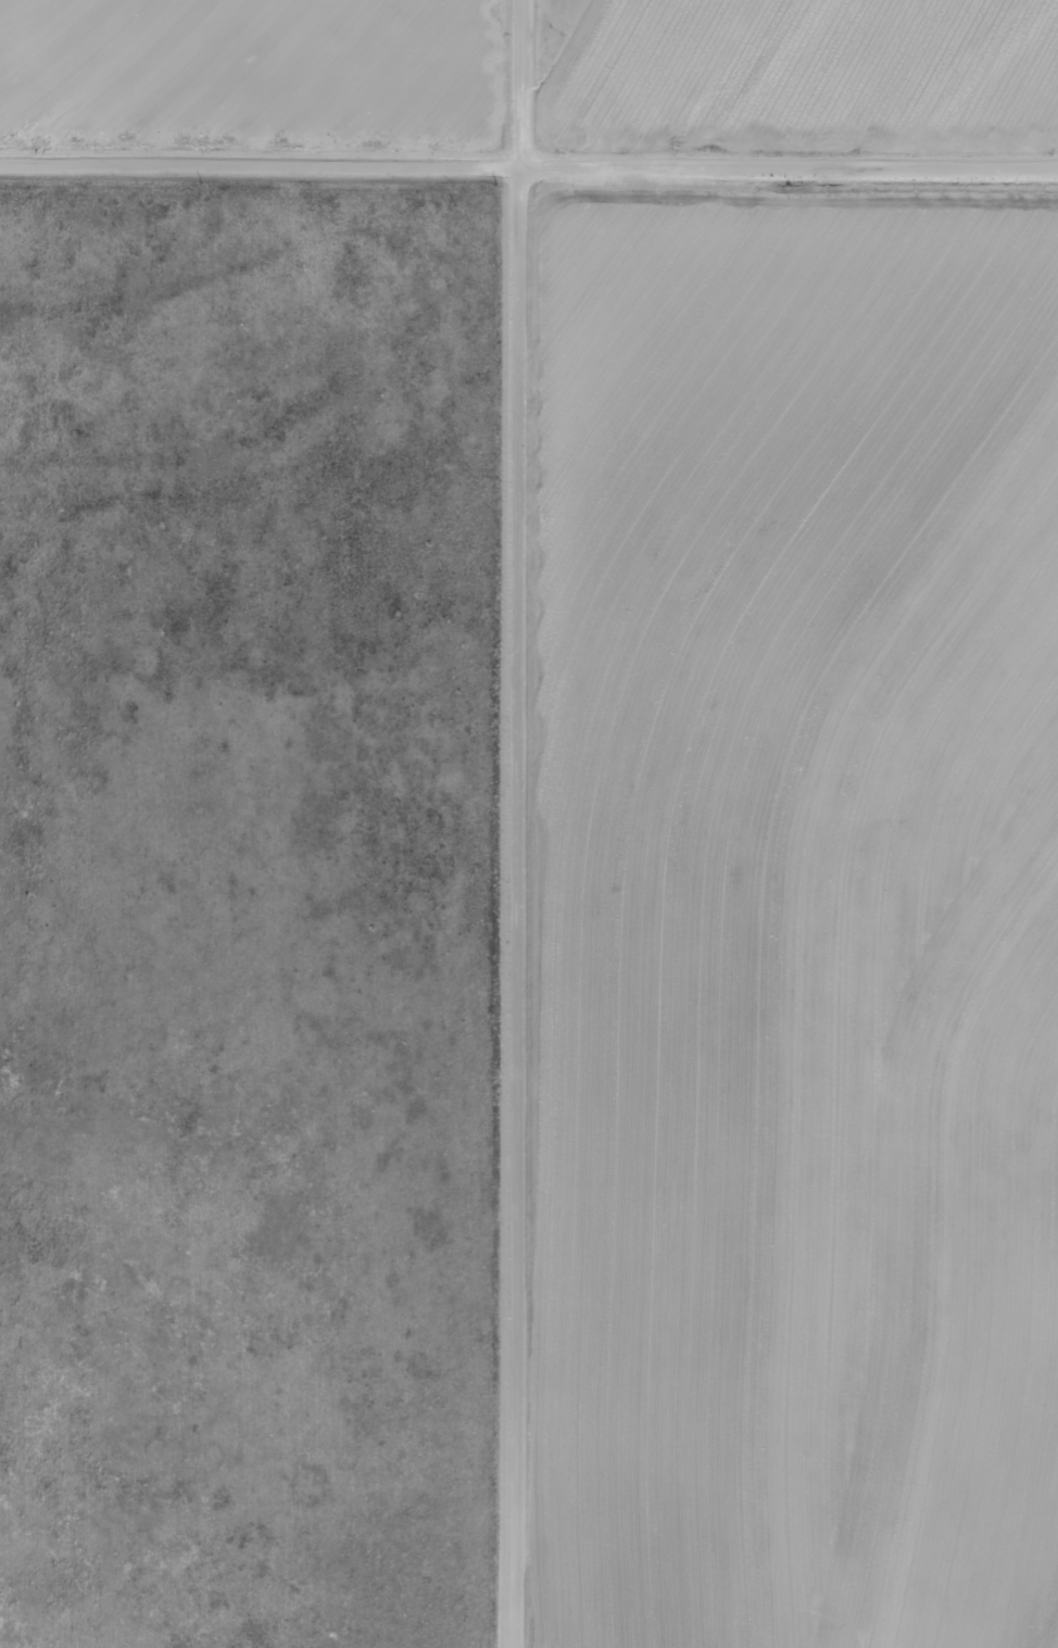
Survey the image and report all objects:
road: (529, 172)
road: (513, 823)

